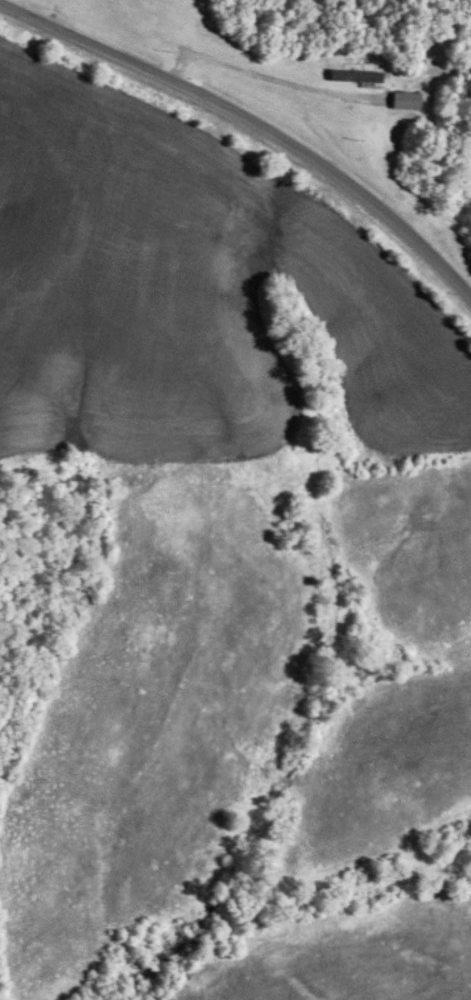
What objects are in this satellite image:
road: (258, 73)
building: (406, 102)
road: (254, 121)

